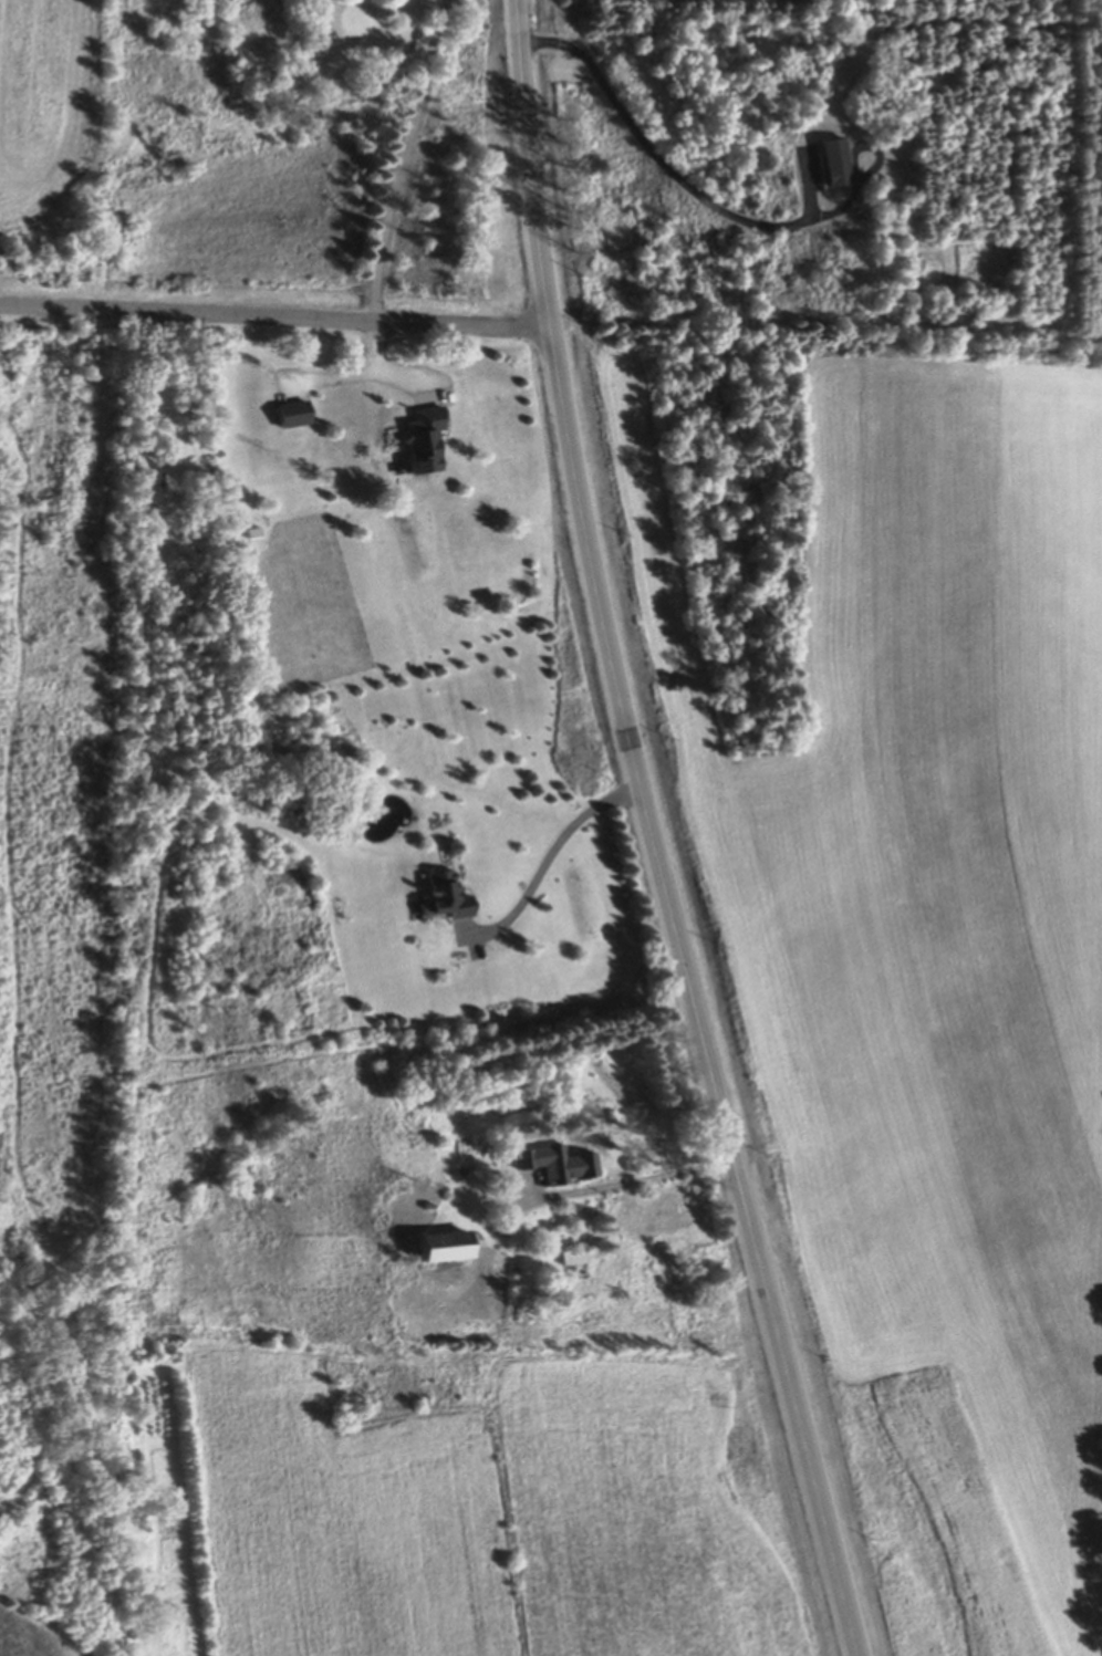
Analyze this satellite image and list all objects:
road: (401, 160)
building: (832, 165)
road: (672, 173)
road: (275, 322)
building: (289, 416)
building: (420, 440)
road: (653, 834)
road: (551, 855)
building: (443, 898)
building: (561, 1168)
road: (637, 1178)
building: (437, 1249)
building: (573, 1260)

